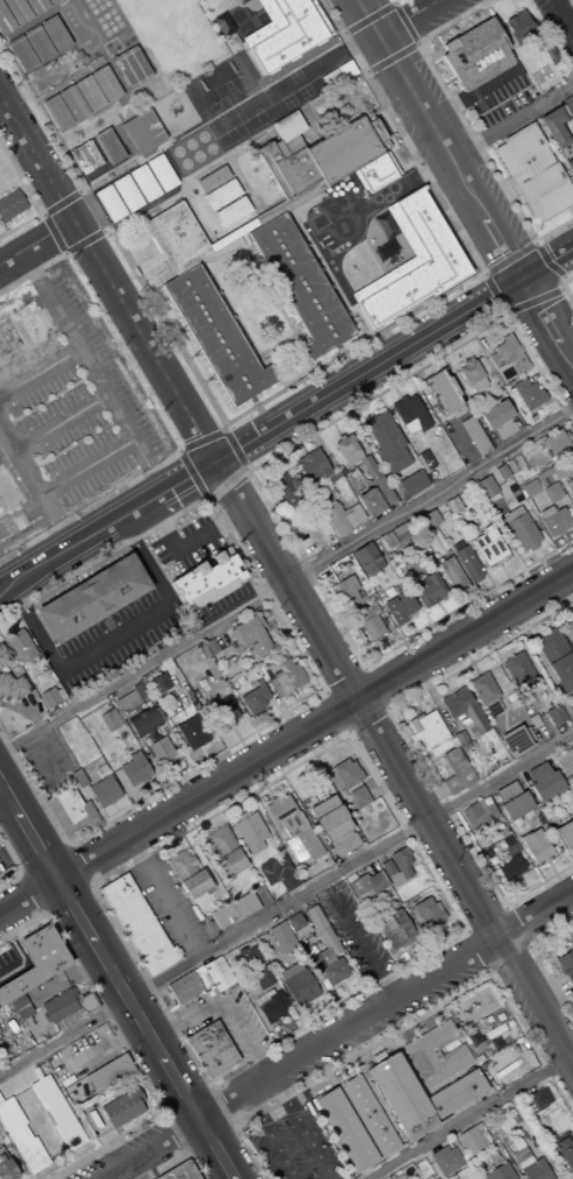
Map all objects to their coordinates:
building: (51, 2)
road: (394, 2)
building: (275, 4)
building: (35, 6)
road: (512, 6)
building: (17, 11)
road: (563, 16)
road: (368, 19)
road: (415, 19)
road: (367, 20)
building: (5, 22)
parking lot: (559, 23)
road: (404, 24)
building: (299, 25)
building: (519, 30)
building: (53, 34)
park: (129, 38)
road: (433, 39)
building: (310, 42)
road: (417, 43)
building: (36, 44)
road: (438, 49)
building: (20, 54)
building: (548, 54)
road: (432, 55)
building: (471, 56)
road: (390, 57)
building: (129, 66)
building: (331, 79)
road: (404, 80)
building: (106, 83)
road: (445, 83)
building: (89, 92)
road: (473, 93)
building: (73, 102)
building: (567, 103)
road: (1, 104)
building: (57, 111)
park: (219, 113)
road: (510, 118)
building: (286, 128)
building: (141, 132)
building: (373, 132)
building: (555, 132)
building: (109, 145)
building: (341, 151)
building: (85, 157)
road: (17, 164)
building: (569, 168)
building: (287, 170)
building: (160, 172)
building: (532, 172)
building: (213, 181)
building: (144, 182)
building: (367, 184)
building: (127, 193)
building: (221, 194)
road: (474, 199)
road: (29, 200)
building: (402, 200)
road: (62, 202)
building: (110, 202)
building: (11, 205)
road: (569, 211)
building: (232, 212)
road: (39, 214)
road: (54, 233)
building: (177, 237)
building: (425, 239)
road: (85, 242)
road: (535, 242)
road: (38, 248)
building: (388, 249)
road: (62, 255)
road: (510, 257)
road: (545, 262)
road: (547, 262)
building: (440, 271)
road: (484, 272)
road: (560, 282)
building: (300, 286)
road: (563, 287)
road: (493, 292)
building: (425, 298)
road: (531, 298)
building: (388, 302)
road: (506, 314)
road: (545, 321)
road: (379, 332)
road: (476, 333)
road: (450, 335)
building: (215, 336)
road: (493, 340)
road: (425, 351)
road: (461, 352)
building: (506, 360)
road: (345, 361)
road: (545, 367)
road: (39, 371)
road: (96, 373)
road: (294, 373)
road: (384, 375)
building: (473, 375)
road: (299, 379)
road: (2, 387)
road: (360, 389)
road: (395, 391)
building: (443, 391)
building: (528, 394)
road: (343, 399)
road: (323, 411)
parking lot: (68, 413)
road: (153, 413)
road: (258, 413)
building: (410, 414)
building: (494, 414)
road: (60, 423)
road: (306, 429)
road: (334, 429)
road: (361, 430)
building: (502, 430)
road: (291, 431)
building: (474, 433)
road: (260, 434)
building: (340, 437)
building: (566, 437)
road: (201, 442)
building: (386, 442)
building: (554, 443)
building: (542, 445)
road: (300, 448)
road: (232, 450)
building: (348, 450)
building: (425, 461)
building: (513, 464)
building: (312, 466)
building: (565, 467)
road: (84, 468)
building: (368, 468)
road: (246, 470)
building: (554, 473)
road: (193, 479)
road: (224, 484)
building: (410, 485)
road: (257, 486)
building: (285, 486)
building: (484, 487)
building: (569, 488)
building: (528, 490)
road: (35, 491)
building: (382, 492)
building: (550, 492)
building: (492, 498)
building: (293, 502)
building: (371, 503)
building: (451, 505)
building: (544, 512)
building: (496, 513)
building: (511, 513)
building: (342, 518)
building: (429, 518)
road: (41, 519)
building: (554, 523)
road: (24, 529)
building: (522, 531)
building: (402, 533)
road: (560, 533)
road: (8, 539)
road: (563, 539)
building: (386, 541)
road: (184, 545)
building: (488, 546)
road: (569, 549)
road: (324, 553)
road: (536, 554)
building: (390, 557)
building: (366, 559)
building: (502, 559)
building: (467, 564)
road: (504, 571)
road: (545, 572)
building: (451, 575)
road: (5, 577)
road: (79, 577)
road: (284, 581)
road: (287, 581)
building: (206, 582)
road: (481, 587)
building: (347, 589)
building: (429, 590)
road: (514, 591)
road: (559, 594)
road: (331, 597)
road: (464, 597)
building: (93, 600)
road: (490, 604)
road: (313, 607)
building: (400, 607)
road: (440, 610)
road: (279, 612)
building: (371, 612)
road: (568, 612)
road: (474, 614)
road: (517, 619)
road: (11, 624)
building: (372, 626)
road: (452, 627)
road: (410, 628)
building: (569, 628)
road: (341, 630)
road: (496, 631)
road: (115, 637)
building: (252, 637)
building: (20, 645)
building: (550, 645)
building: (211, 646)
road: (421, 646)
road: (507, 649)
building: (237, 650)
road: (304, 651)
road: (462, 651)
building: (4, 656)
road: (545, 667)
road: (473, 668)
building: (518, 668)
building: (563, 670)
road: (309, 673)
road: (33, 677)
building: (286, 679)
road: (341, 679)
building: (160, 682)
building: (202, 683)
road: (408, 683)
road: (377, 687)
building: (11, 688)
building: (483, 688)
building: (139, 692)
road: (300, 695)
building: (49, 697)
road: (563, 697)
building: (255, 698)
road: (434, 699)
building: (126, 700)
road: (538, 701)
road: (416, 704)
building: (493, 707)
building: (464, 709)
building: (569, 711)
building: (224, 712)
road: (31, 713)
building: (158, 713)
road: (333, 713)
road: (282, 715)
building: (555, 715)
building: (110, 719)
building: (144, 723)
road: (367, 723)
road: (504, 724)
road: (512, 724)
building: (432, 731)
building: (191, 733)
building: (124, 736)
road: (346, 736)
building: (459, 737)
building: (136, 740)
road: (285, 740)
road: (569, 740)
building: (146, 741)
building: (127, 742)
building: (517, 742)
road: (239, 743)
road: (367, 747)
building: (161, 749)
road: (413, 749)
road: (422, 755)
road: (352, 756)
road: (45, 759)
road: (280, 759)
building: (565, 761)
road: (207, 764)
road: (407, 764)
building: (100, 768)
building: (134, 770)
building: (456, 772)
road: (256, 773)
building: (346, 773)
road: (315, 776)
building: (78, 778)
building: (120, 779)
building: (543, 782)
road: (384, 785)
building: (104, 791)
road: (242, 791)
road: (321, 791)
building: (508, 792)
road: (492, 795)
road: (429, 796)
building: (359, 797)
road: (151, 798)
road: (4, 800)
road: (136, 806)
building: (307, 807)
building: (516, 807)
road: (112, 808)
building: (279, 809)
building: (69, 812)
building: (477, 814)
building: (242, 815)
road: (185, 816)
building: (330, 818)
building: (292, 824)
road: (525, 824)
building: (250, 829)
building: (501, 831)
road: (528, 831)
building: (566, 833)
road: (452, 839)
road: (184, 841)
building: (220, 841)
building: (508, 841)
building: (343, 843)
road: (65, 844)
building: (254, 846)
building: (303, 846)
road: (465, 846)
building: (536, 846)
road: (43, 861)
road: (551, 861)
road: (213, 863)
building: (230, 863)
road: (75, 864)
road: (16, 865)
building: (181, 865)
building: (397, 867)
road: (478, 867)
building: (510, 868)
building: (0, 869)
building: (276, 869)
road: (549, 869)
building: (0, 873)
road: (19, 875)
road: (496, 881)
building: (194, 883)
building: (367, 885)
road: (89, 887)
road: (559, 887)
road: (481, 891)
road: (32, 895)
road: (456, 897)
road: (158, 898)
road: (65, 899)
road: (285, 904)
building: (244, 905)
building: (427, 912)
building: (223, 914)
road: (43, 916)
building: (133, 918)
road: (482, 918)
building: (295, 924)
building: (394, 930)
building: (322, 931)
parking lot: (353, 932)
building: (281, 938)
road: (262, 941)
road: (359, 943)
road: (407, 953)
road: (17, 954)
building: (160, 961)
building: (36, 962)
building: (566, 967)
building: (329, 970)
road: (417, 972)
building: (217, 973)
road: (65, 979)
road: (346, 979)
road: (115, 983)
building: (297, 984)
building: (183, 987)
road: (343, 990)
road: (223, 1002)
building: (87, 1003)
building: (59, 1005)
building: (270, 1005)
building: (20, 1008)
road: (311, 1010)
road: (322, 1028)
building: (202, 1034)
road: (334, 1035)
road: (295, 1045)
road: (122, 1046)
building: (209, 1046)
building: (435, 1055)
building: (218, 1062)
building: (109, 1074)
building: (19, 1084)
road: (208, 1087)
building: (417, 1096)
building: (535, 1101)
road: (187, 1105)
building: (122, 1107)
road: (146, 1107)
building: (56, 1113)
road: (161, 1114)
building: (367, 1116)
road: (467, 1116)
road: (135, 1120)
road: (300, 1126)
building: (343, 1130)
road: (269, 1134)
road: (102, 1136)
building: (20, 1137)
building: (473, 1140)
parking lot: (291, 1142)
road: (89, 1148)
building: (565, 1151)
building: (1, 1157)
building: (445, 1160)
road: (60, 1163)
building: (530, 1167)
building: (7, 1169)
building: (179, 1172)
building: (499, 1173)
road: (32, 1177)

